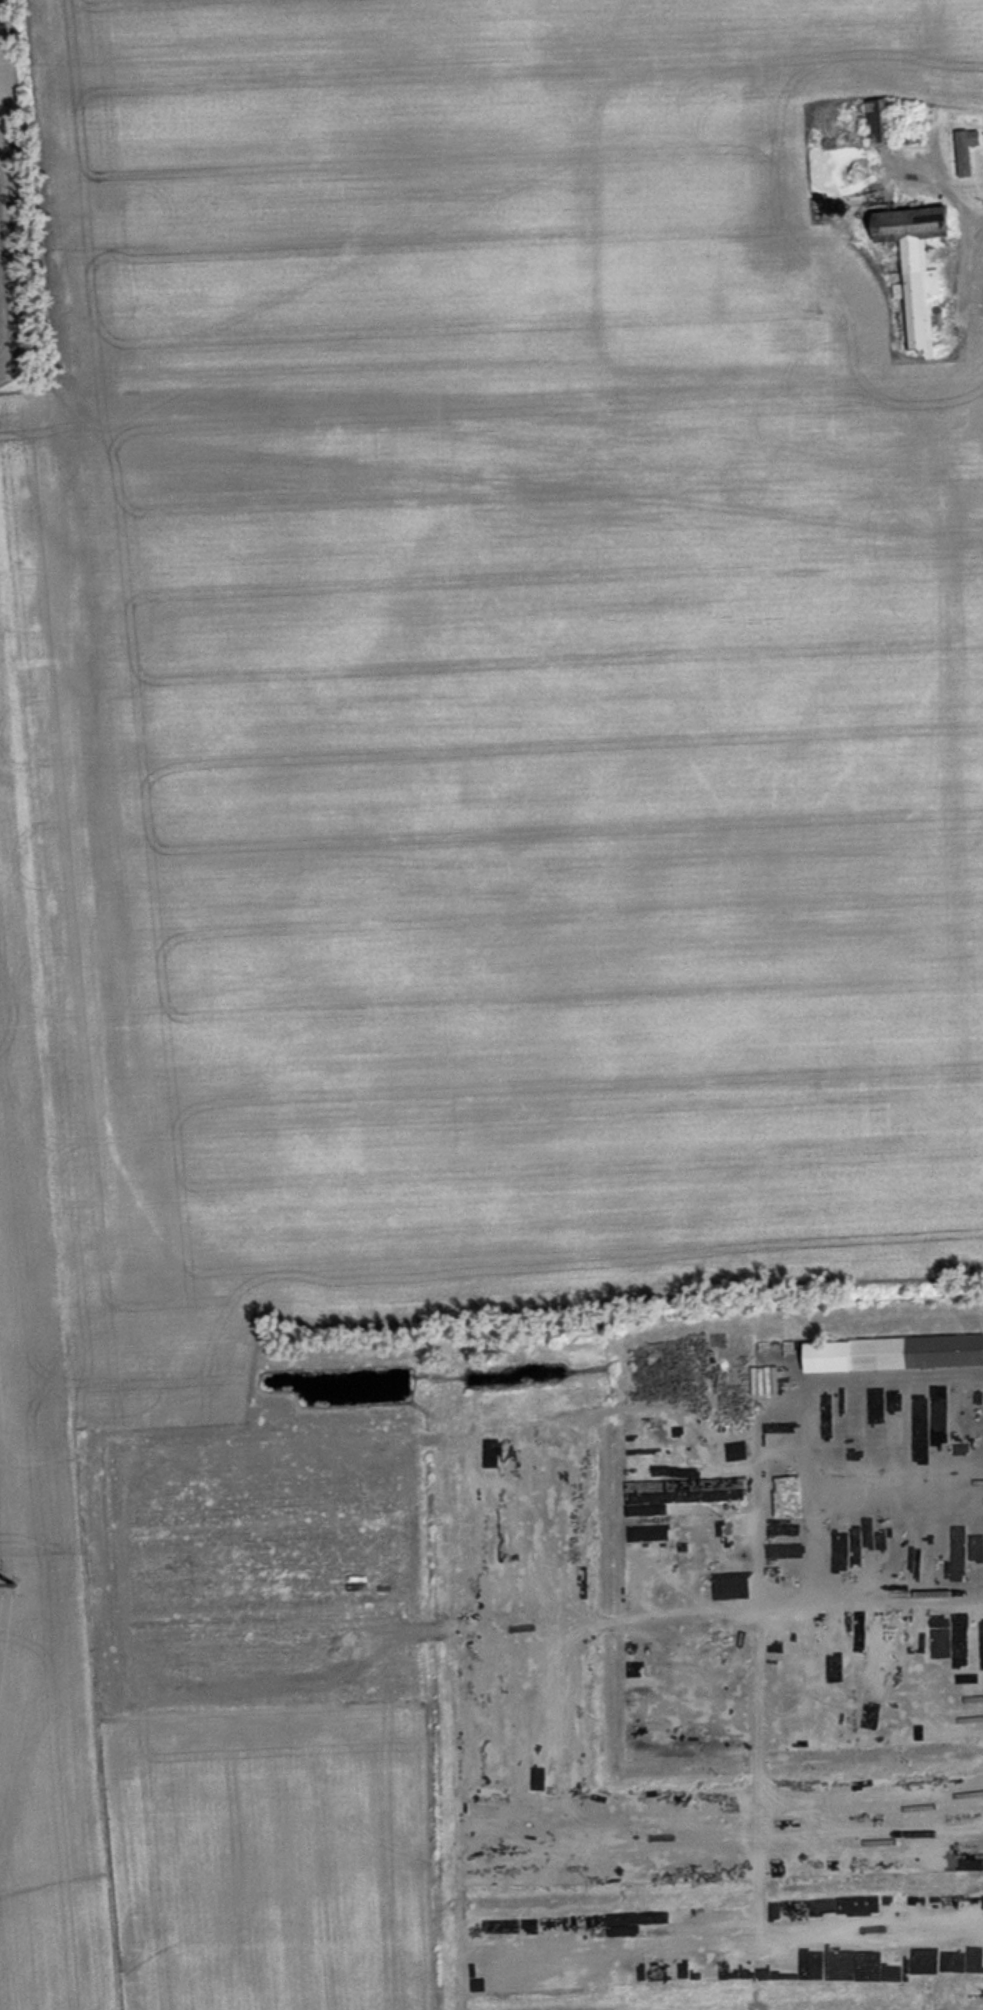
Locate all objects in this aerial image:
building: (874, 120)
building: (962, 150)
building: (907, 267)
building: (896, 1353)
power tower: (9, 1574)

